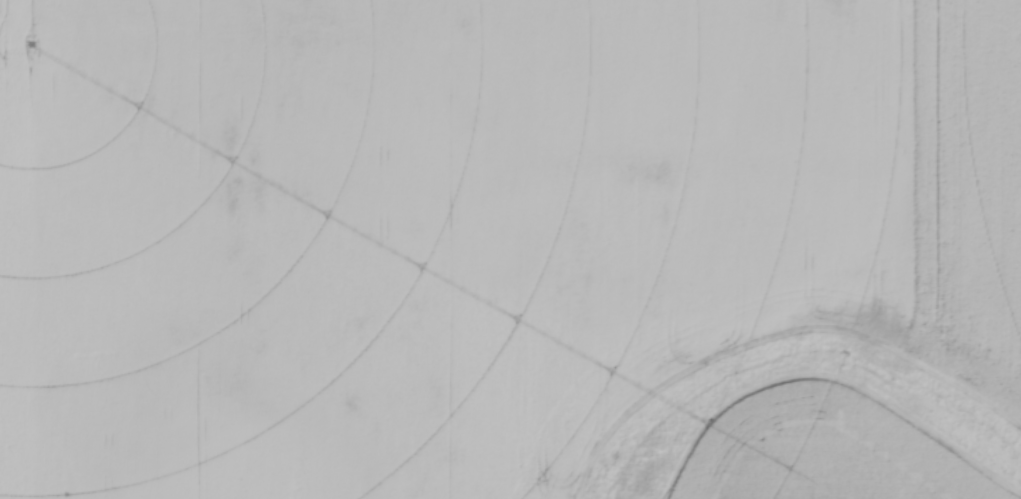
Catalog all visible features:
crop: (976, 192)

